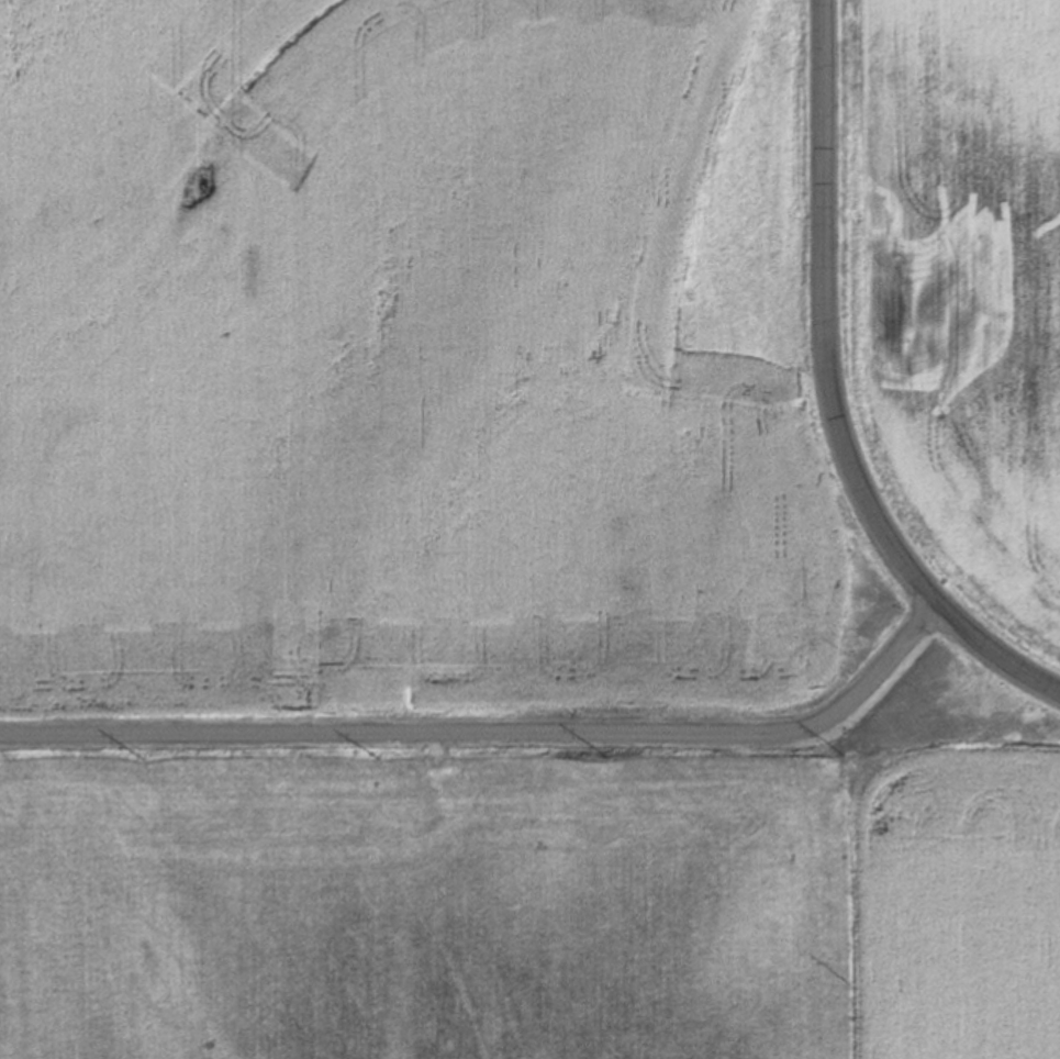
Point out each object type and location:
road: (832, 392)
road: (495, 734)

